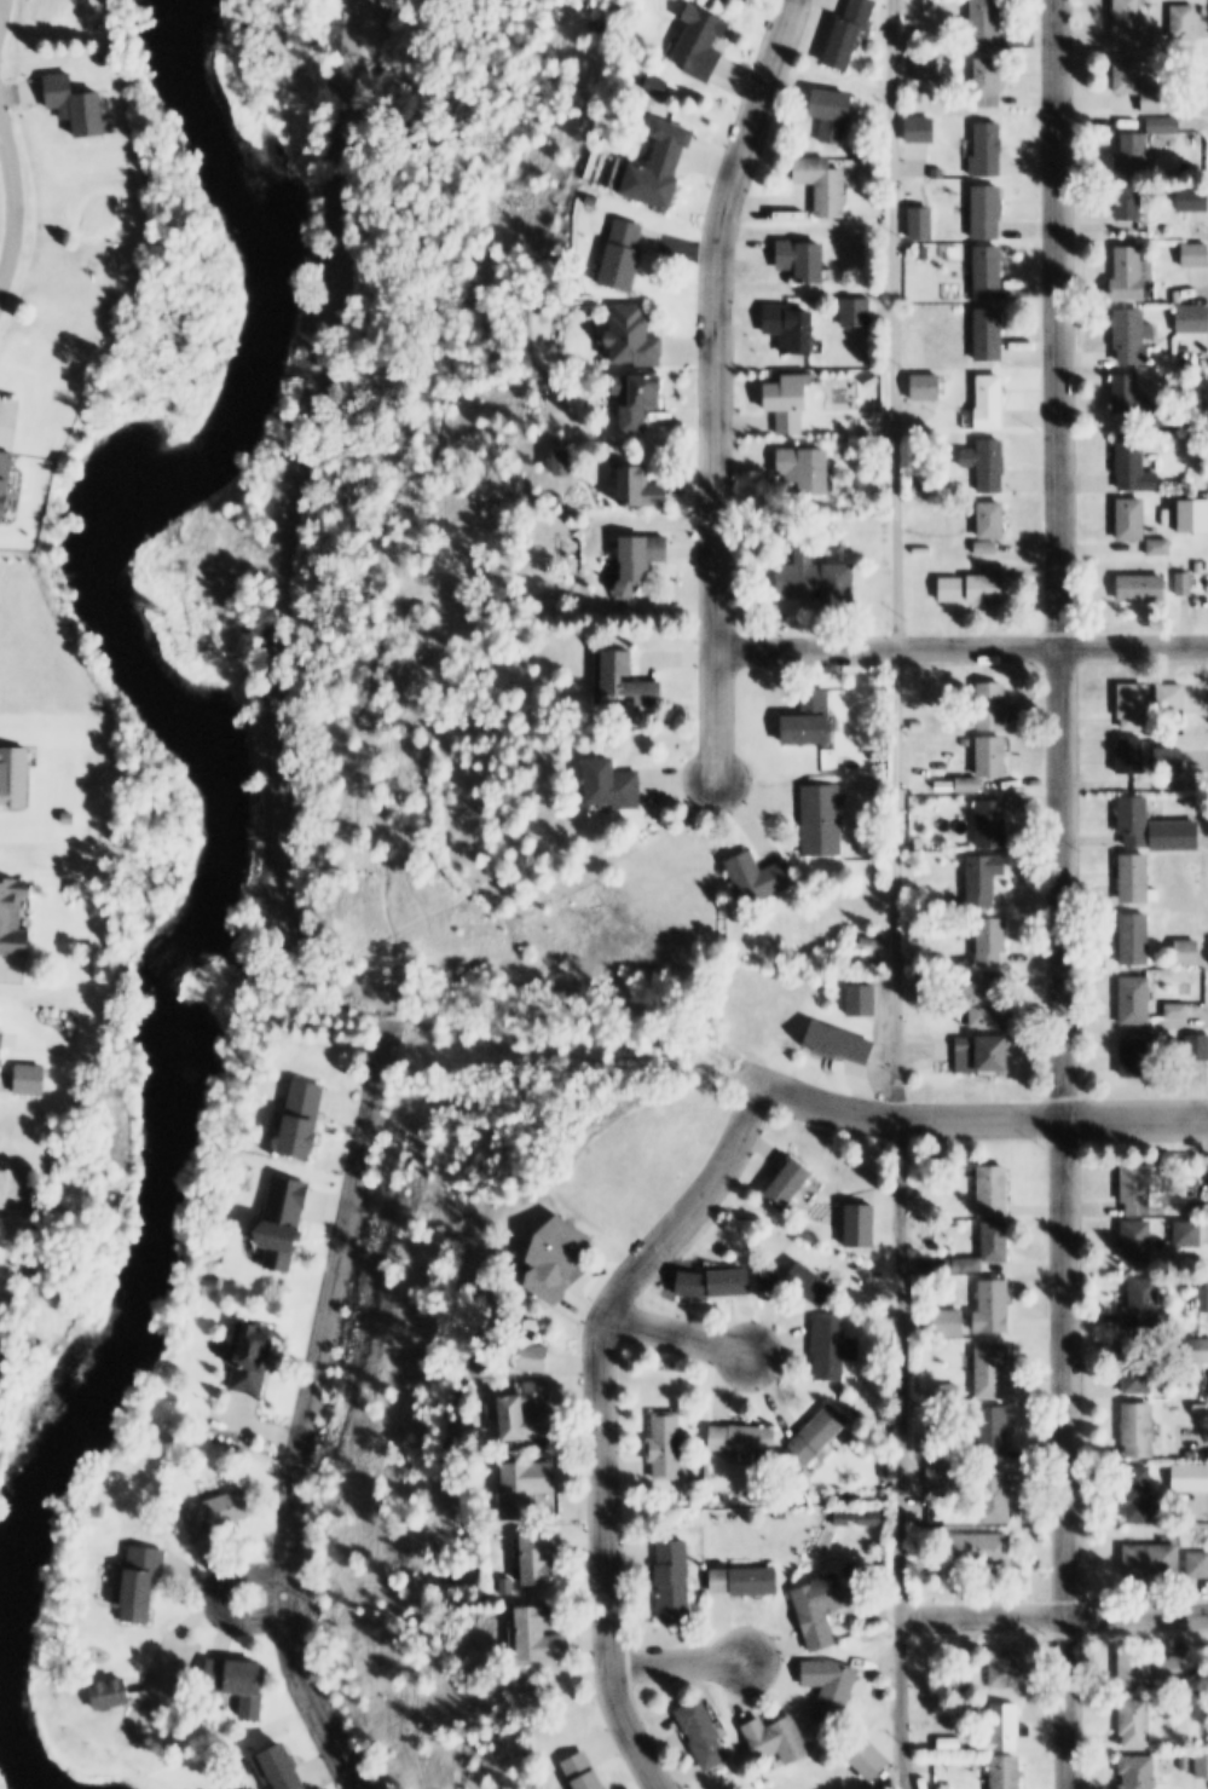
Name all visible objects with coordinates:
building: (940, 4)
building: (1132, 22)
building: (1186, 22)
building: (989, 25)
building: (852, 33)
building: (703, 44)
building: (931, 65)
building: (1131, 75)
building: (992, 82)
building: (658, 85)
building: (1157, 100)
building: (836, 115)
building: (1166, 125)
building: (923, 131)
building: (990, 149)
building: (1135, 152)
building: (660, 174)
building: (826, 186)
building: (1193, 200)
building: (594, 201)
road: (11, 202)
building: (1131, 202)
building: (990, 212)
building: (924, 254)
building: (624, 255)
building: (1196, 258)
building: (807, 260)
building: (990, 273)
building: (1132, 276)
building: (536, 308)
building: (859, 313)
building: (1192, 321)
building: (794, 330)
building: (990, 336)
building: (637, 337)
building: (1135, 337)
road: (716, 383)
building: (927, 387)
building: (1129, 396)
building: (642, 400)
building: (792, 400)
building: (993, 404)
building: (1157, 417)
building: (563, 463)
building: (619, 464)
building: (989, 466)
building: (1135, 466)
building: (810, 469)
building: (641, 491)
building: (1133, 519)
building: (994, 520)
building: (1203, 521)
building: (1204, 531)
road: (265, 535)
building: (1161, 548)
building: (988, 549)
building: (645, 561)
building: (1200, 567)
building: (819, 579)
building: (1184, 584)
building: (1144, 589)
building: (925, 590)
building: (953, 590)
building: (988, 590)
road: (963, 647)
building: (631, 681)
building: (1172, 699)
building: (994, 708)
building: (1135, 708)
building: (811, 722)
building: (917, 727)
building: (966, 743)
building: (1132, 756)
building: (994, 757)
building: (1171, 761)
building: (614, 785)
building: (970, 786)
building: (1195, 804)
building: (825, 821)
building: (1135, 821)
building: (994, 825)
building: (918, 842)
river: (212, 868)
building: (762, 878)
building: (987, 879)
building: (1138, 881)
building: (98, 894)
road: (900, 894)
road: (1063, 894)
road: (713, 896)
building: (15, 916)
building: (1137, 937)
building: (994, 941)
building: (1189, 951)
building: (859, 962)
building: (1138, 999)
building: (862, 1000)
building: (989, 1000)
building: (1179, 1010)
building: (838, 1041)
building: (1200, 1046)
building: (995, 1052)
building: (964, 1055)
building: (1139, 1057)
building: (305, 1119)
road: (982, 1119)
building: (790, 1183)
building: (1139, 1188)
building: (996, 1190)
building: (1193, 1211)
building: (1203, 1211)
building: (281, 1222)
building: (863, 1224)
building: (1190, 1233)
building: (1139, 1239)
building: (998, 1240)
building: (565, 1257)
building: (965, 1264)
building: (771, 1277)
building: (721, 1281)
building: (815, 1283)
building: (1206, 1299)
building: (1144, 1304)
building: (995, 1305)
building: (948, 1322)
road: (681, 1329)
building: (532, 1346)
building: (834, 1346)
building: (245, 1356)
building: (1139, 1366)
building: (993, 1368)
building: (541, 1392)
building: (948, 1392)
building: (1203, 1407)
road: (305, 1409)
building: (526, 1420)
road: (605, 1420)
building: (1139, 1429)
building: (994, 1431)
building: (821, 1433)
building: (746, 1439)
building: (669, 1445)
building: (942, 1476)
building: (1190, 1478)
building: (527, 1487)
building: (1140, 1494)
building: (996, 1496)
building: (699, 1502)
building: (213, 1514)
building: (983, 1548)
building: (542, 1558)
building: (1154, 1558)
building: (1197, 1564)
building: (747, 1580)
building: (676, 1581)
building: (139, 1582)
building: (504, 1585)
road: (219, 1593)
building: (825, 1606)
road: (1056, 1612)
building: (541, 1633)
road: (677, 1662)
building: (1006, 1668)
building: (1152, 1669)
building: (970, 1673)
building: (236, 1684)
building: (832, 1687)
building: (110, 1693)
building: (1134, 1722)
building: (1004, 1730)
building: (705, 1733)
building: (780, 1739)
building: (950, 1744)
building: (871, 1759)
building: (1202, 1765)
building: (975, 1766)
building: (277, 1767)
building: (584, 1771)
building: (1138, 1771)
building: (1007, 1772)
building: (762, 1783)

